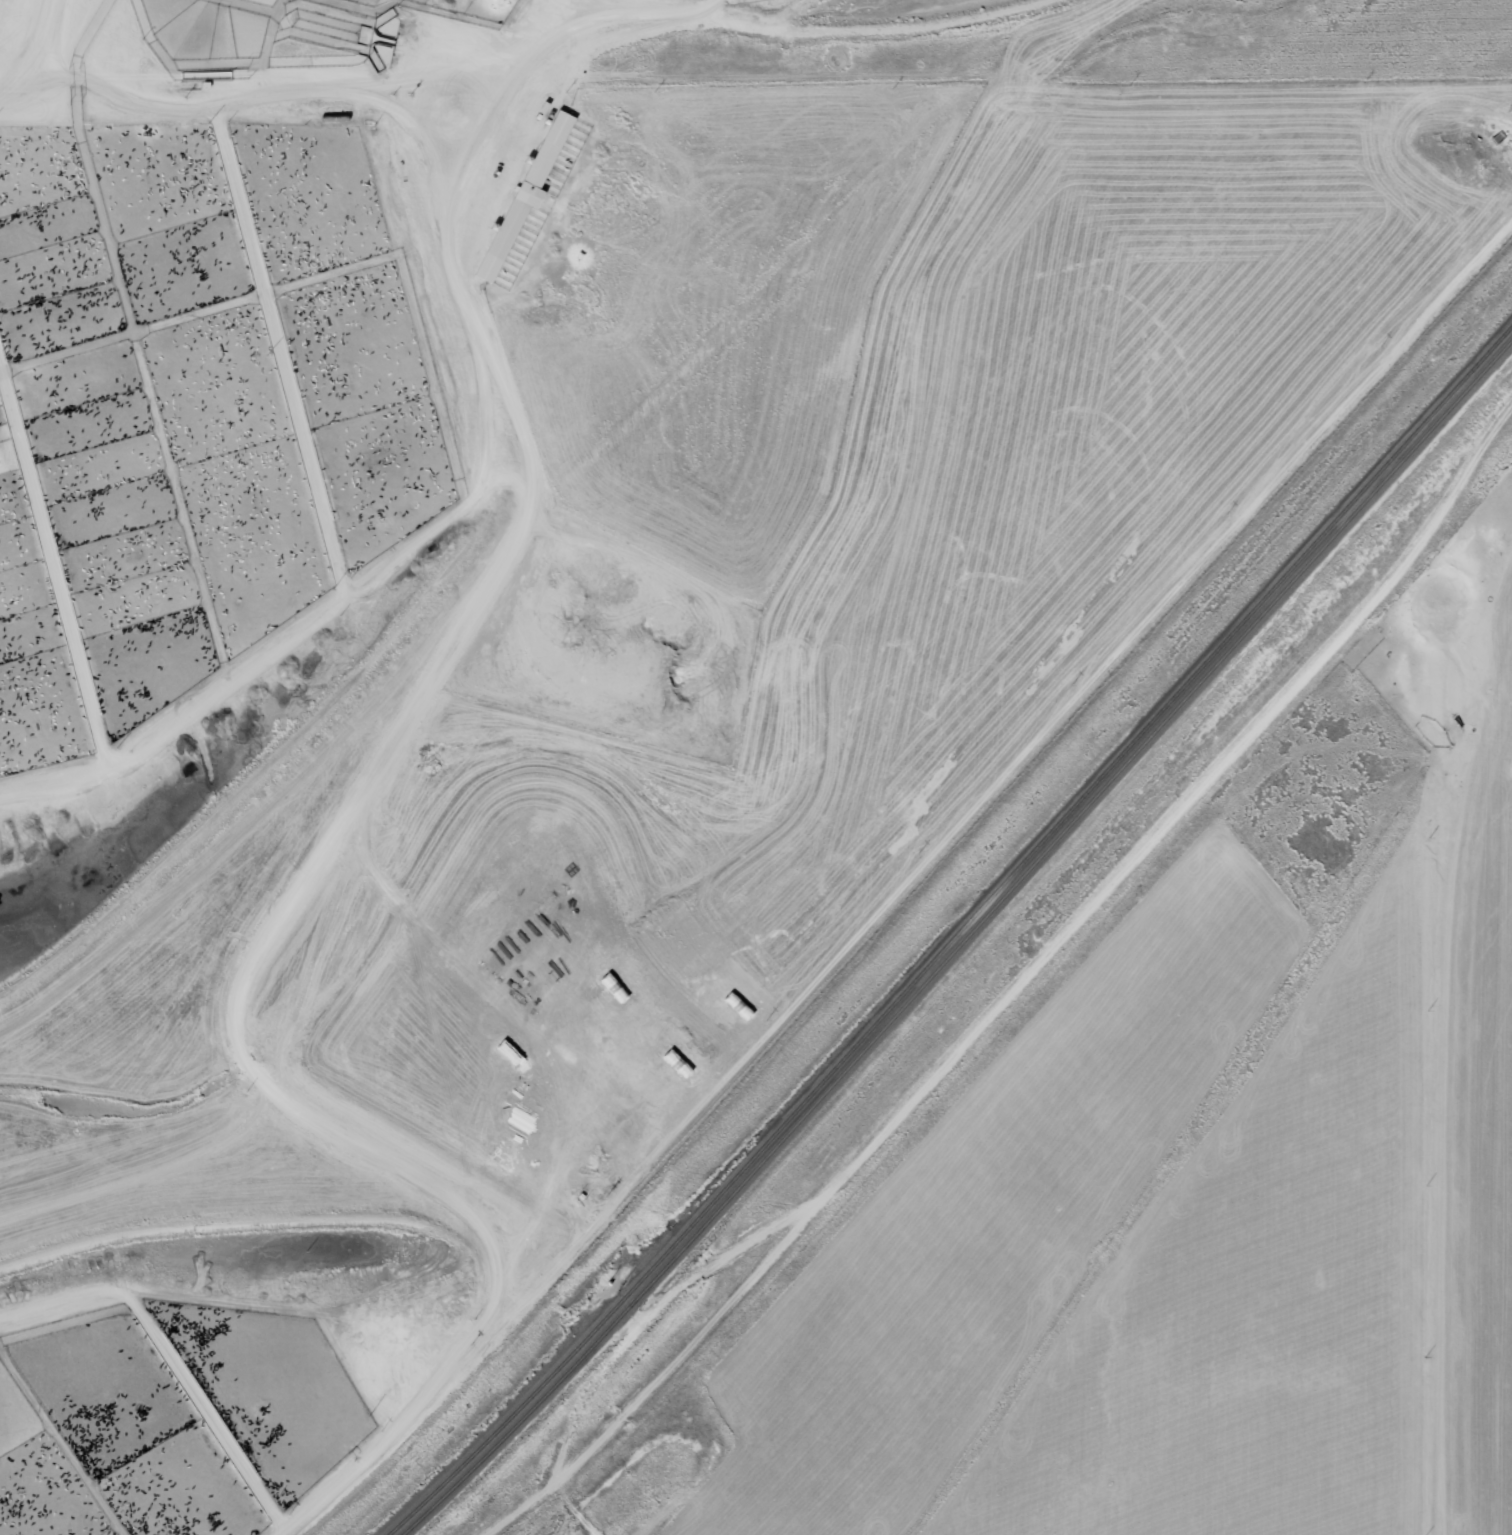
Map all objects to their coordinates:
road: (498, 91)
building: (532, 196)
road: (414, 538)
road: (64, 546)
road: (898, 888)
railway: (956, 937)
railway: (965, 944)
road: (174, 1358)
road: (0, 1534)

